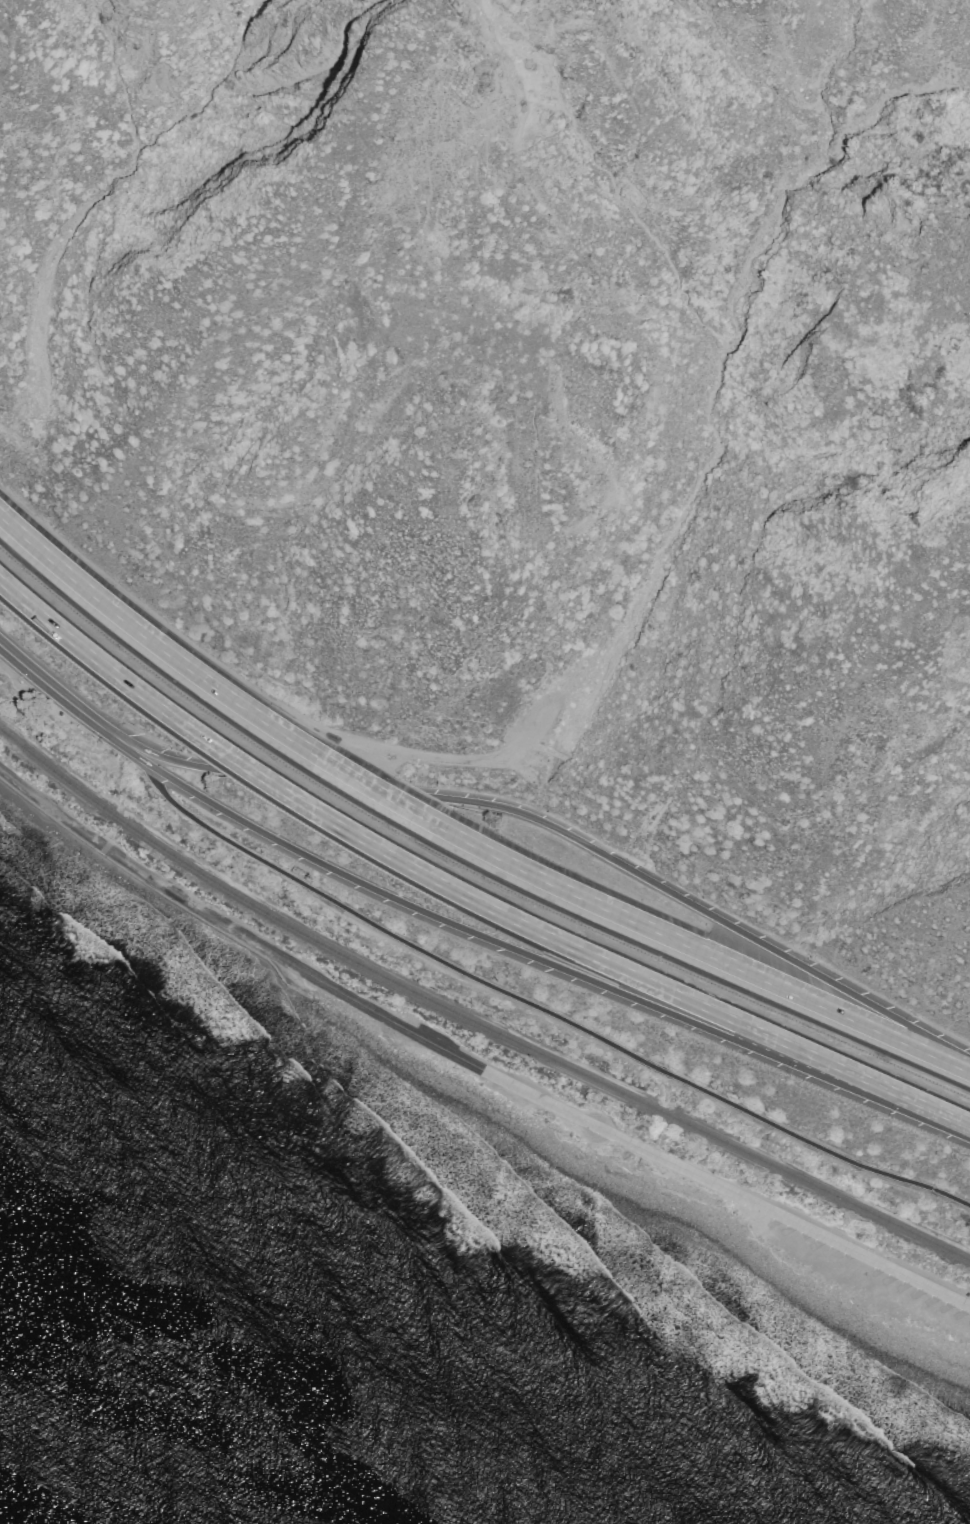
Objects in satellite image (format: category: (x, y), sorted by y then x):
road: (42, 680)
road: (94, 721)
road: (153, 753)
road: (458, 841)
road: (461, 892)
road: (688, 901)
road: (497, 941)
road: (503, 991)
railway: (470, 1021)
road: (951, 1051)
road: (469, 1063)
road: (943, 1123)
park: (618, 1142)

